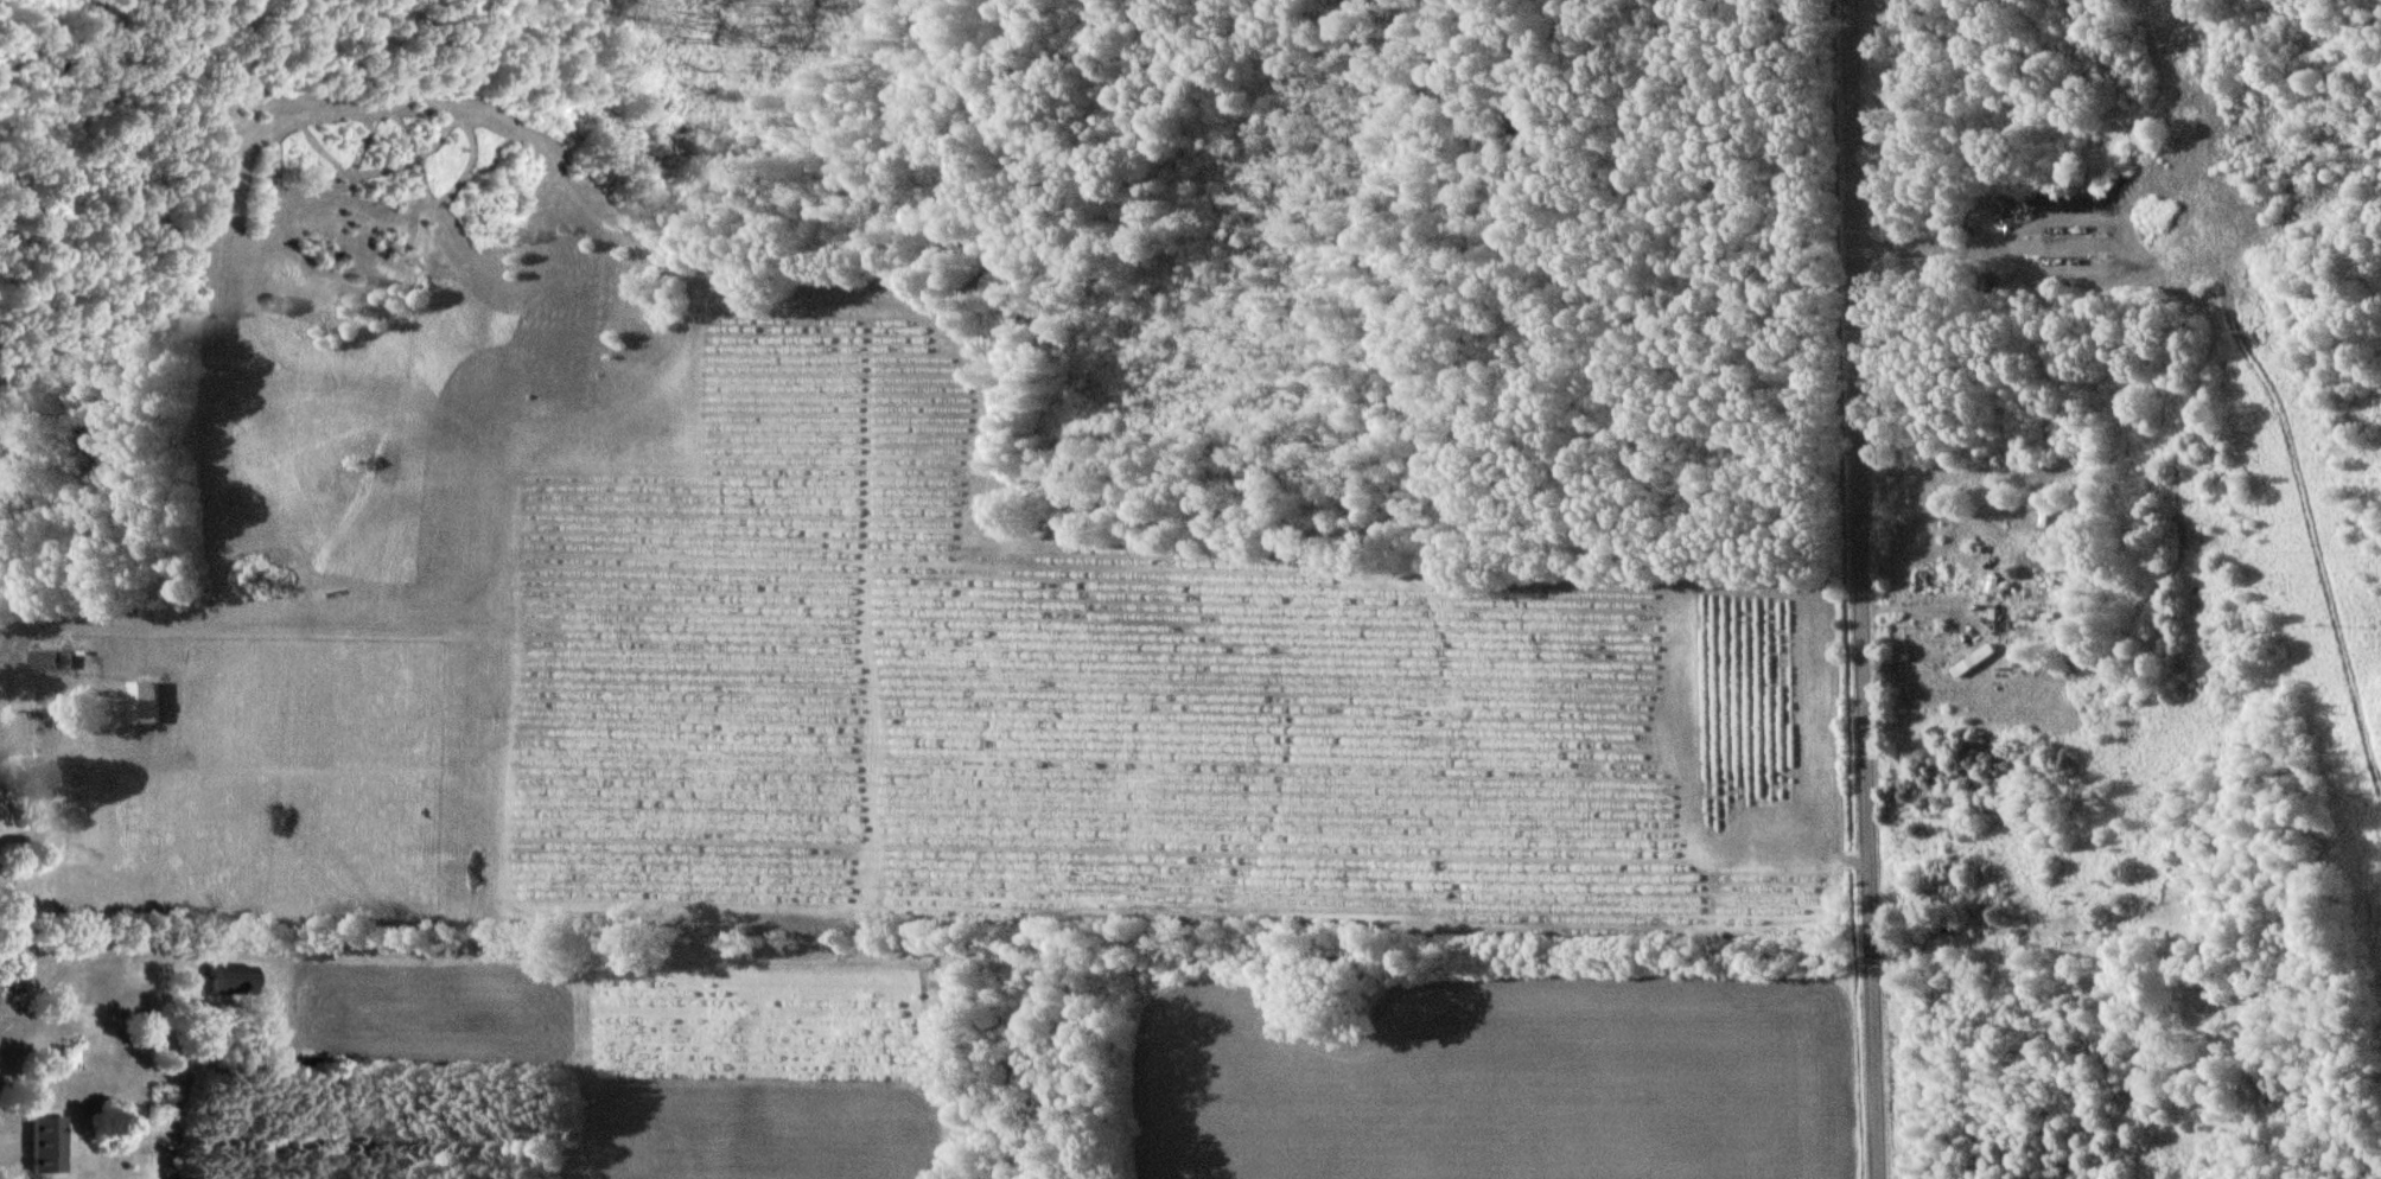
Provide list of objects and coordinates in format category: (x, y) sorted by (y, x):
building: (1993, 585)
road: (1863, 588)
building: (56, 659)
building: (148, 702)
road: (15, 743)
building: (237, 979)
building: (50, 1143)

